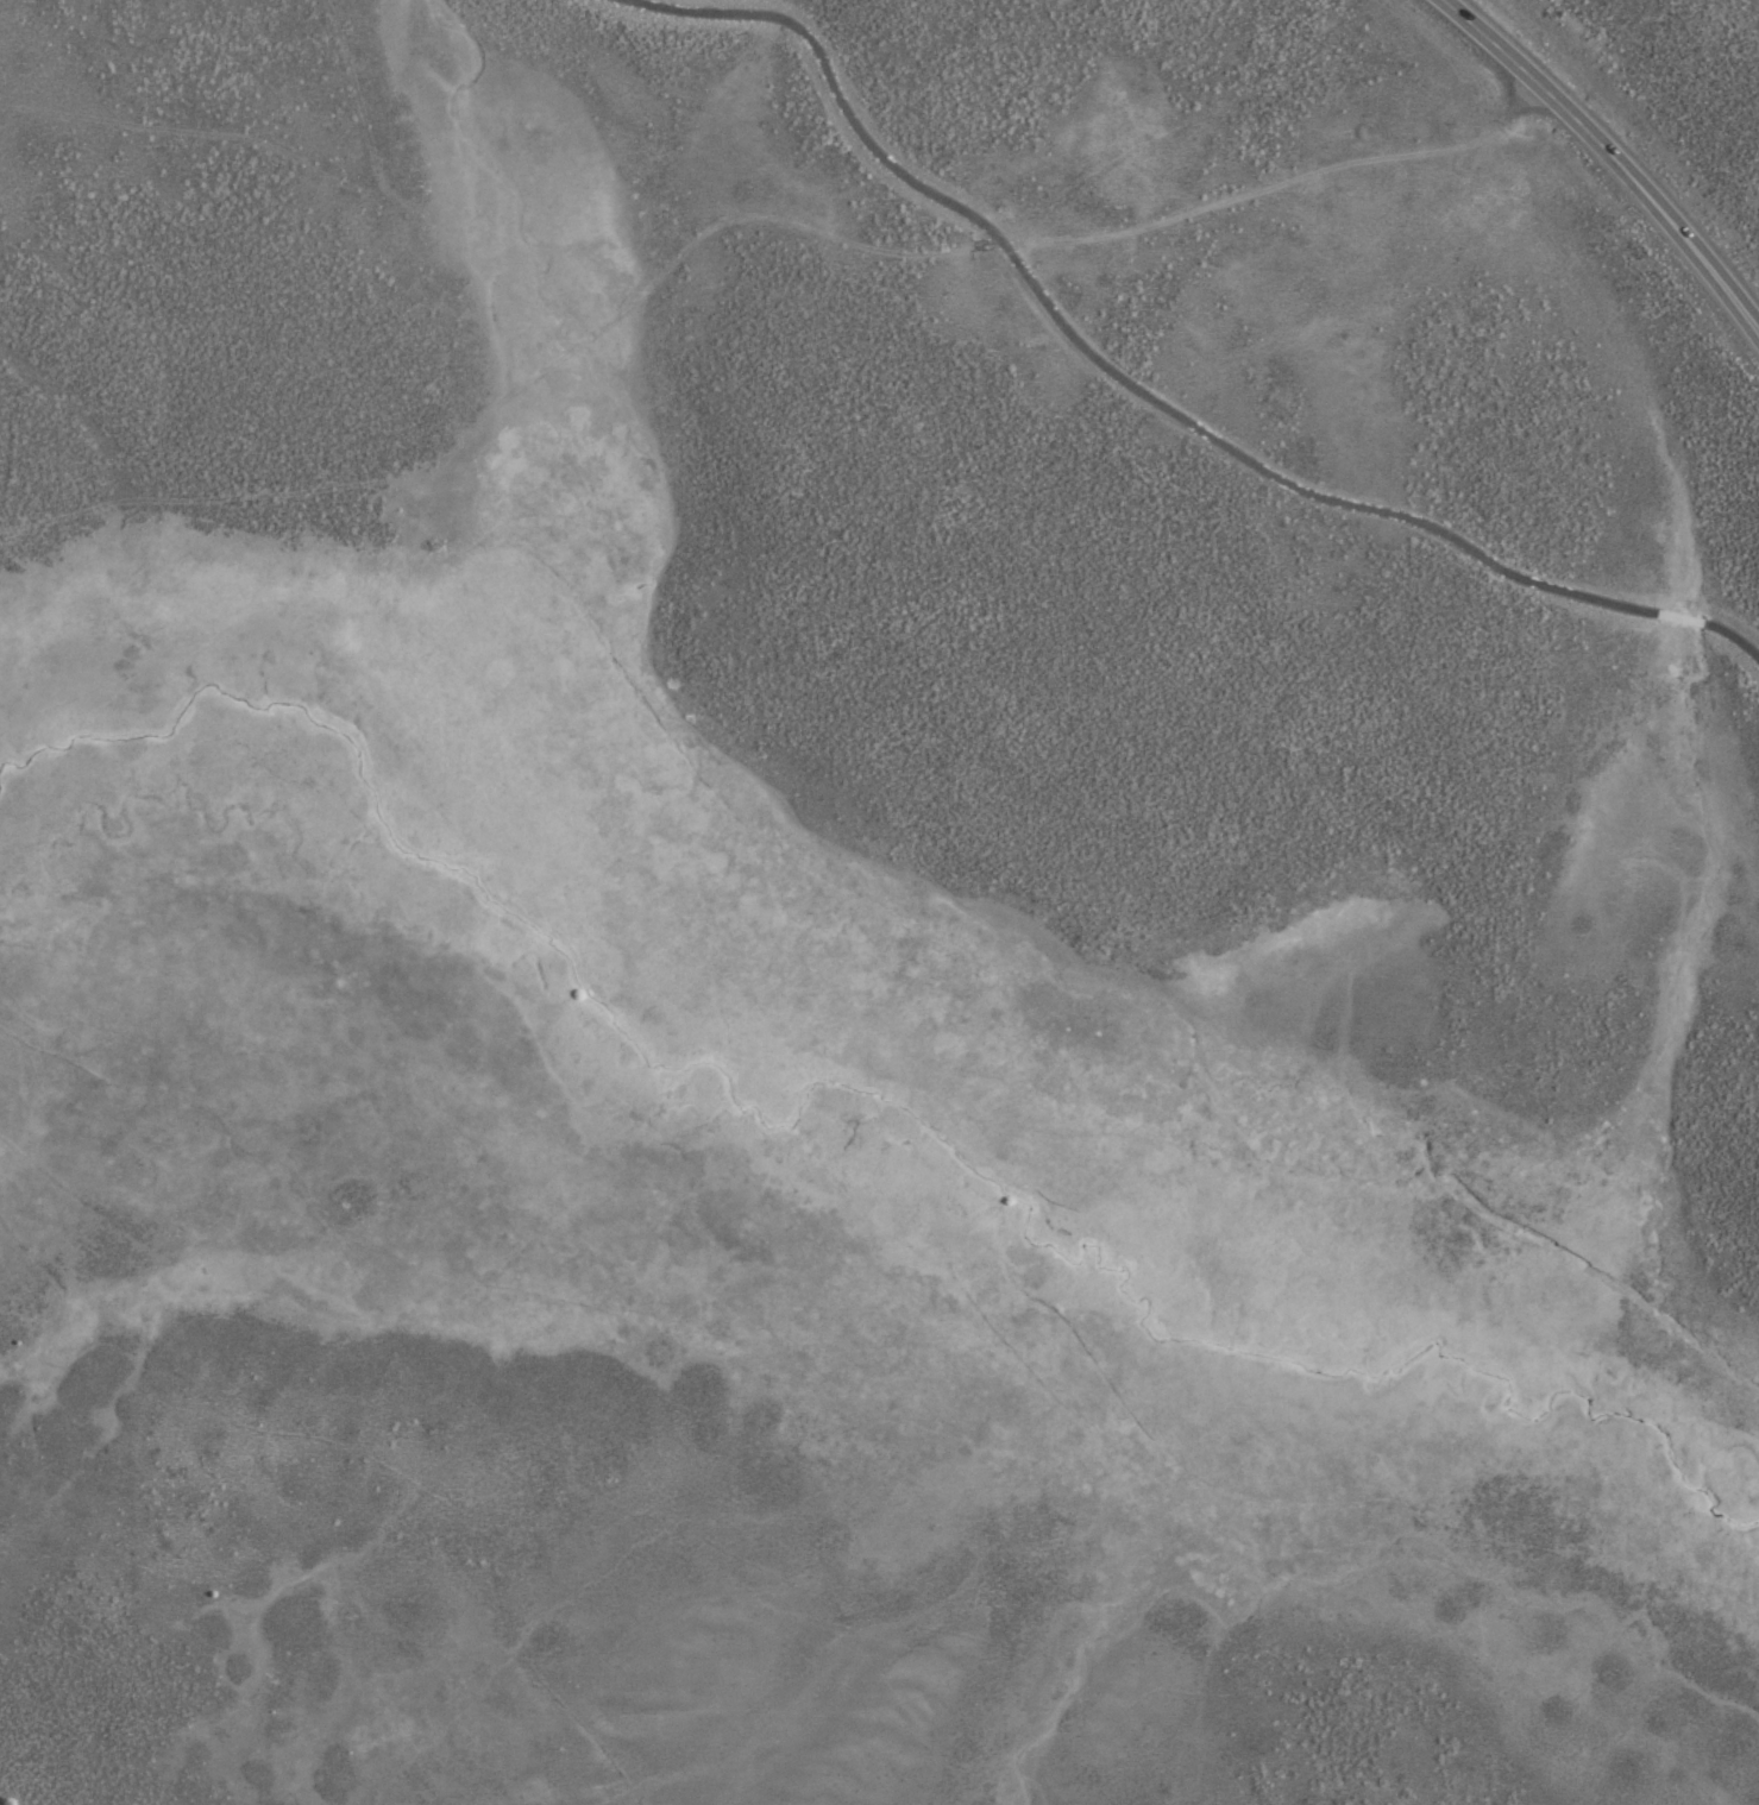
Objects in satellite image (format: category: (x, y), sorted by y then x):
airport: (1681, 78)
road: (1609, 158)
road: (1091, 360)
road: (1671, 616)
road: (1730, 637)

